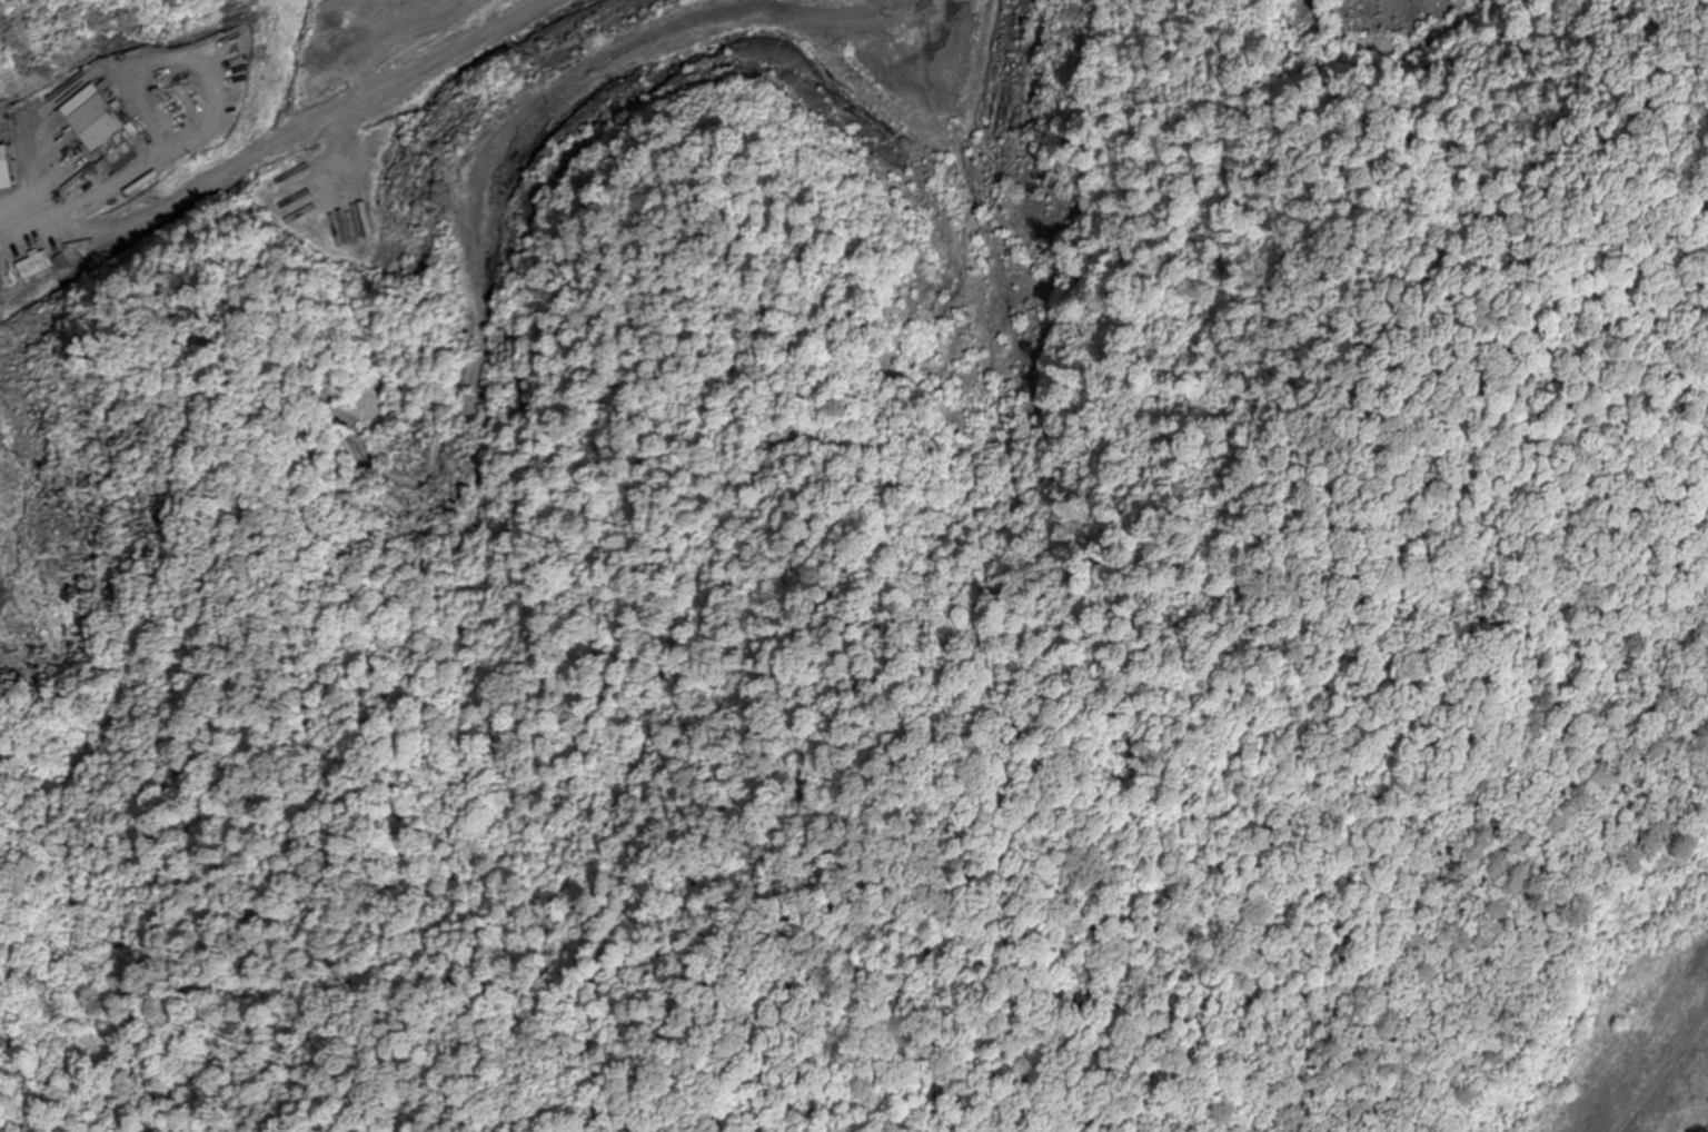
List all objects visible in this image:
building: (197, 117)
building: (96, 137)
building: (4, 151)
building: (373, 153)
road: (105, 198)
building: (334, 206)
building: (37, 266)
building: (1570, 1081)

